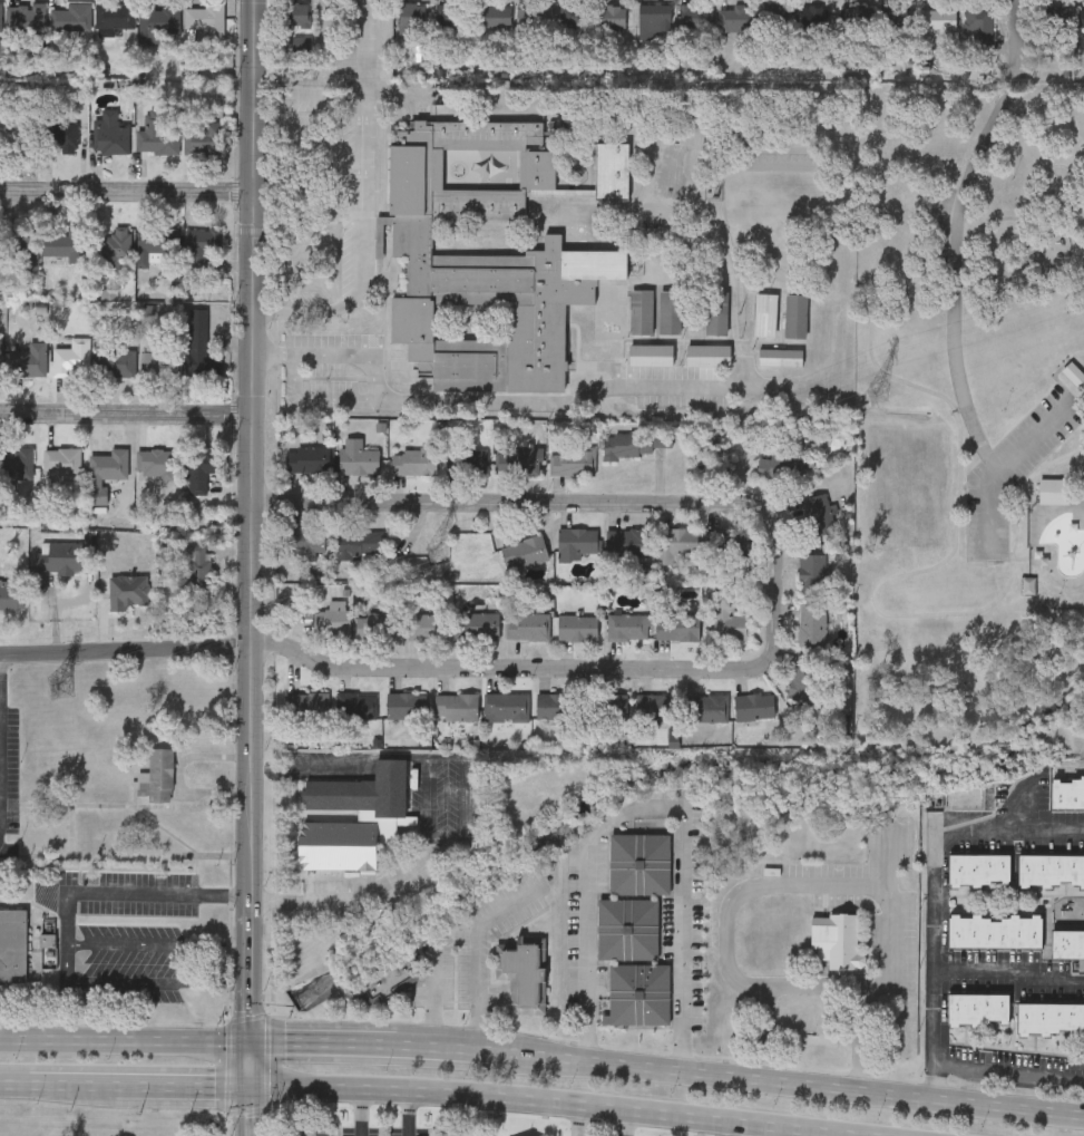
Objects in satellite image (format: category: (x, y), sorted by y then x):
building: (294, 13)
building: (449, 13)
building: (575, 13)
building: (115, 14)
building: (494, 14)
building: (694, 14)
building: (0, 16)
building: (72, 16)
building: (411, 16)
building: (611, 16)
building: (775, 16)
building: (813, 16)
building: (861, 16)
building: (918, 16)
building: (1055, 17)
building: (1081, 17)
building: (27, 18)
building: (735, 18)
building: (653, 19)
building: (205, 20)
building: (159, 21)
building: (978, 22)
building: (534, 26)
road: (306, 95)
building: (14, 125)
building: (110, 132)
building: (60, 134)
building: (157, 135)
building: (205, 136)
road: (124, 192)
road: (362, 203)
road: (956, 224)
building: (156, 241)
building: (69, 242)
building: (113, 243)
building: (202, 243)
building: (21, 244)
building: (489, 256)
building: (642, 311)
building: (670, 311)
building: (199, 339)
building: (651, 353)
road: (271, 356)
building: (72, 357)
building: (1, 358)
building: (28, 358)
building: (117, 361)
building: (160, 362)
building: (1074, 375)
power tower: (877, 395)
road: (373, 399)
road: (570, 402)
road: (124, 412)
park: (970, 417)
building: (634, 441)
building: (306, 458)
building: (517, 459)
building: (62, 460)
building: (358, 460)
building: (412, 460)
building: (466, 460)
building: (572, 460)
building: (23, 462)
road: (992, 462)
building: (155, 463)
road: (999, 465)
building: (780, 466)
building: (199, 467)
parking lot: (1013, 469)
building: (106, 470)
road: (959, 470)
building: (1054, 491)
road: (510, 504)
building: (818, 514)
building: (577, 541)
building: (676, 541)
building: (306, 542)
building: (628, 542)
building: (358, 543)
building: (726, 543)
building: (524, 552)
power tower: (436, 553)
building: (60, 557)
building: (196, 566)
road: (248, 567)
building: (812, 573)
building: (12, 594)
building: (332, 618)
building: (724, 618)
building: (378, 624)
building: (812, 624)
building: (427, 625)
building: (477, 625)
building: (527, 625)
building: (626, 625)
building: (676, 627)
building: (577, 628)
road: (124, 649)
road: (579, 670)
building: (802, 678)
power tower: (61, 689)
building: (305, 706)
building: (355, 706)
building: (404, 706)
building: (505, 706)
building: (555, 706)
building: (657, 706)
building: (753, 706)
building: (456, 707)
building: (605, 707)
building: (707, 708)
building: (46, 777)
building: (157, 777)
building: (84, 779)
building: (1067, 793)
road: (650, 804)
road: (1024, 804)
building: (381, 813)
road: (438, 813)
building: (638, 864)
building: (979, 870)
building: (1052, 870)
road: (811, 883)
road: (935, 886)
road: (67, 907)
building: (627, 929)
building: (995, 931)
building: (838, 939)
road: (157, 943)
building: (1067, 943)
building: (13, 946)
road: (484, 949)
building: (523, 972)
road: (1009, 974)
building: (388, 979)
building: (638, 994)
building: (978, 1009)
building: (1051, 1018)
road: (769, 1031)
road: (124, 1037)
traffic signals: (247, 1041)
road: (323, 1042)
road: (436, 1046)
road: (492, 1050)
road: (1009, 1069)
road: (799, 1081)
road: (16, 1085)
road: (76, 1085)
road: (183, 1088)
traffic signals: (247, 1090)
road: (545, 1100)
road: (361, 1113)
road: (408, 1114)
road: (577, 1119)
road: (627, 1123)
building: (310, 1129)
road: (751, 1129)
building: (455, 1134)

